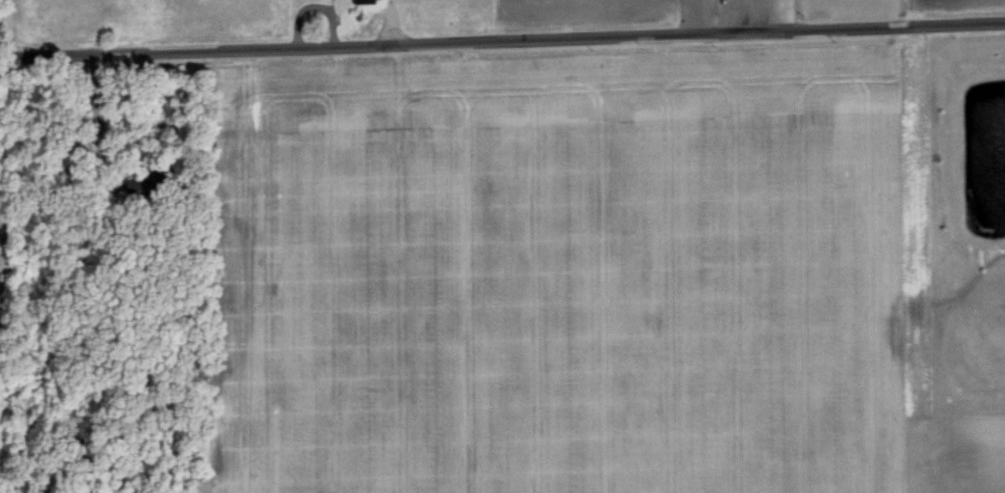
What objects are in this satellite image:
building: (358, 0)
road: (502, 38)

